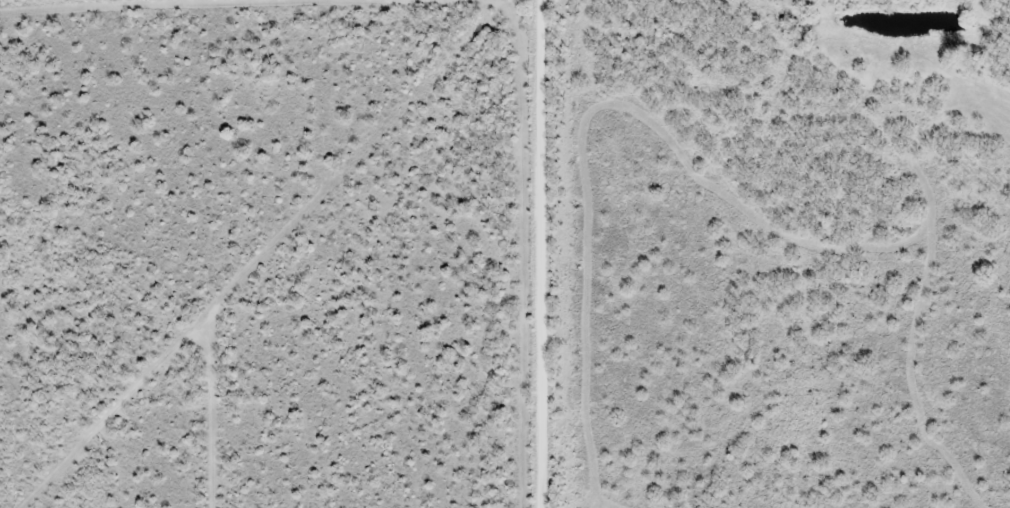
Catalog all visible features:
road: (542, 254)

